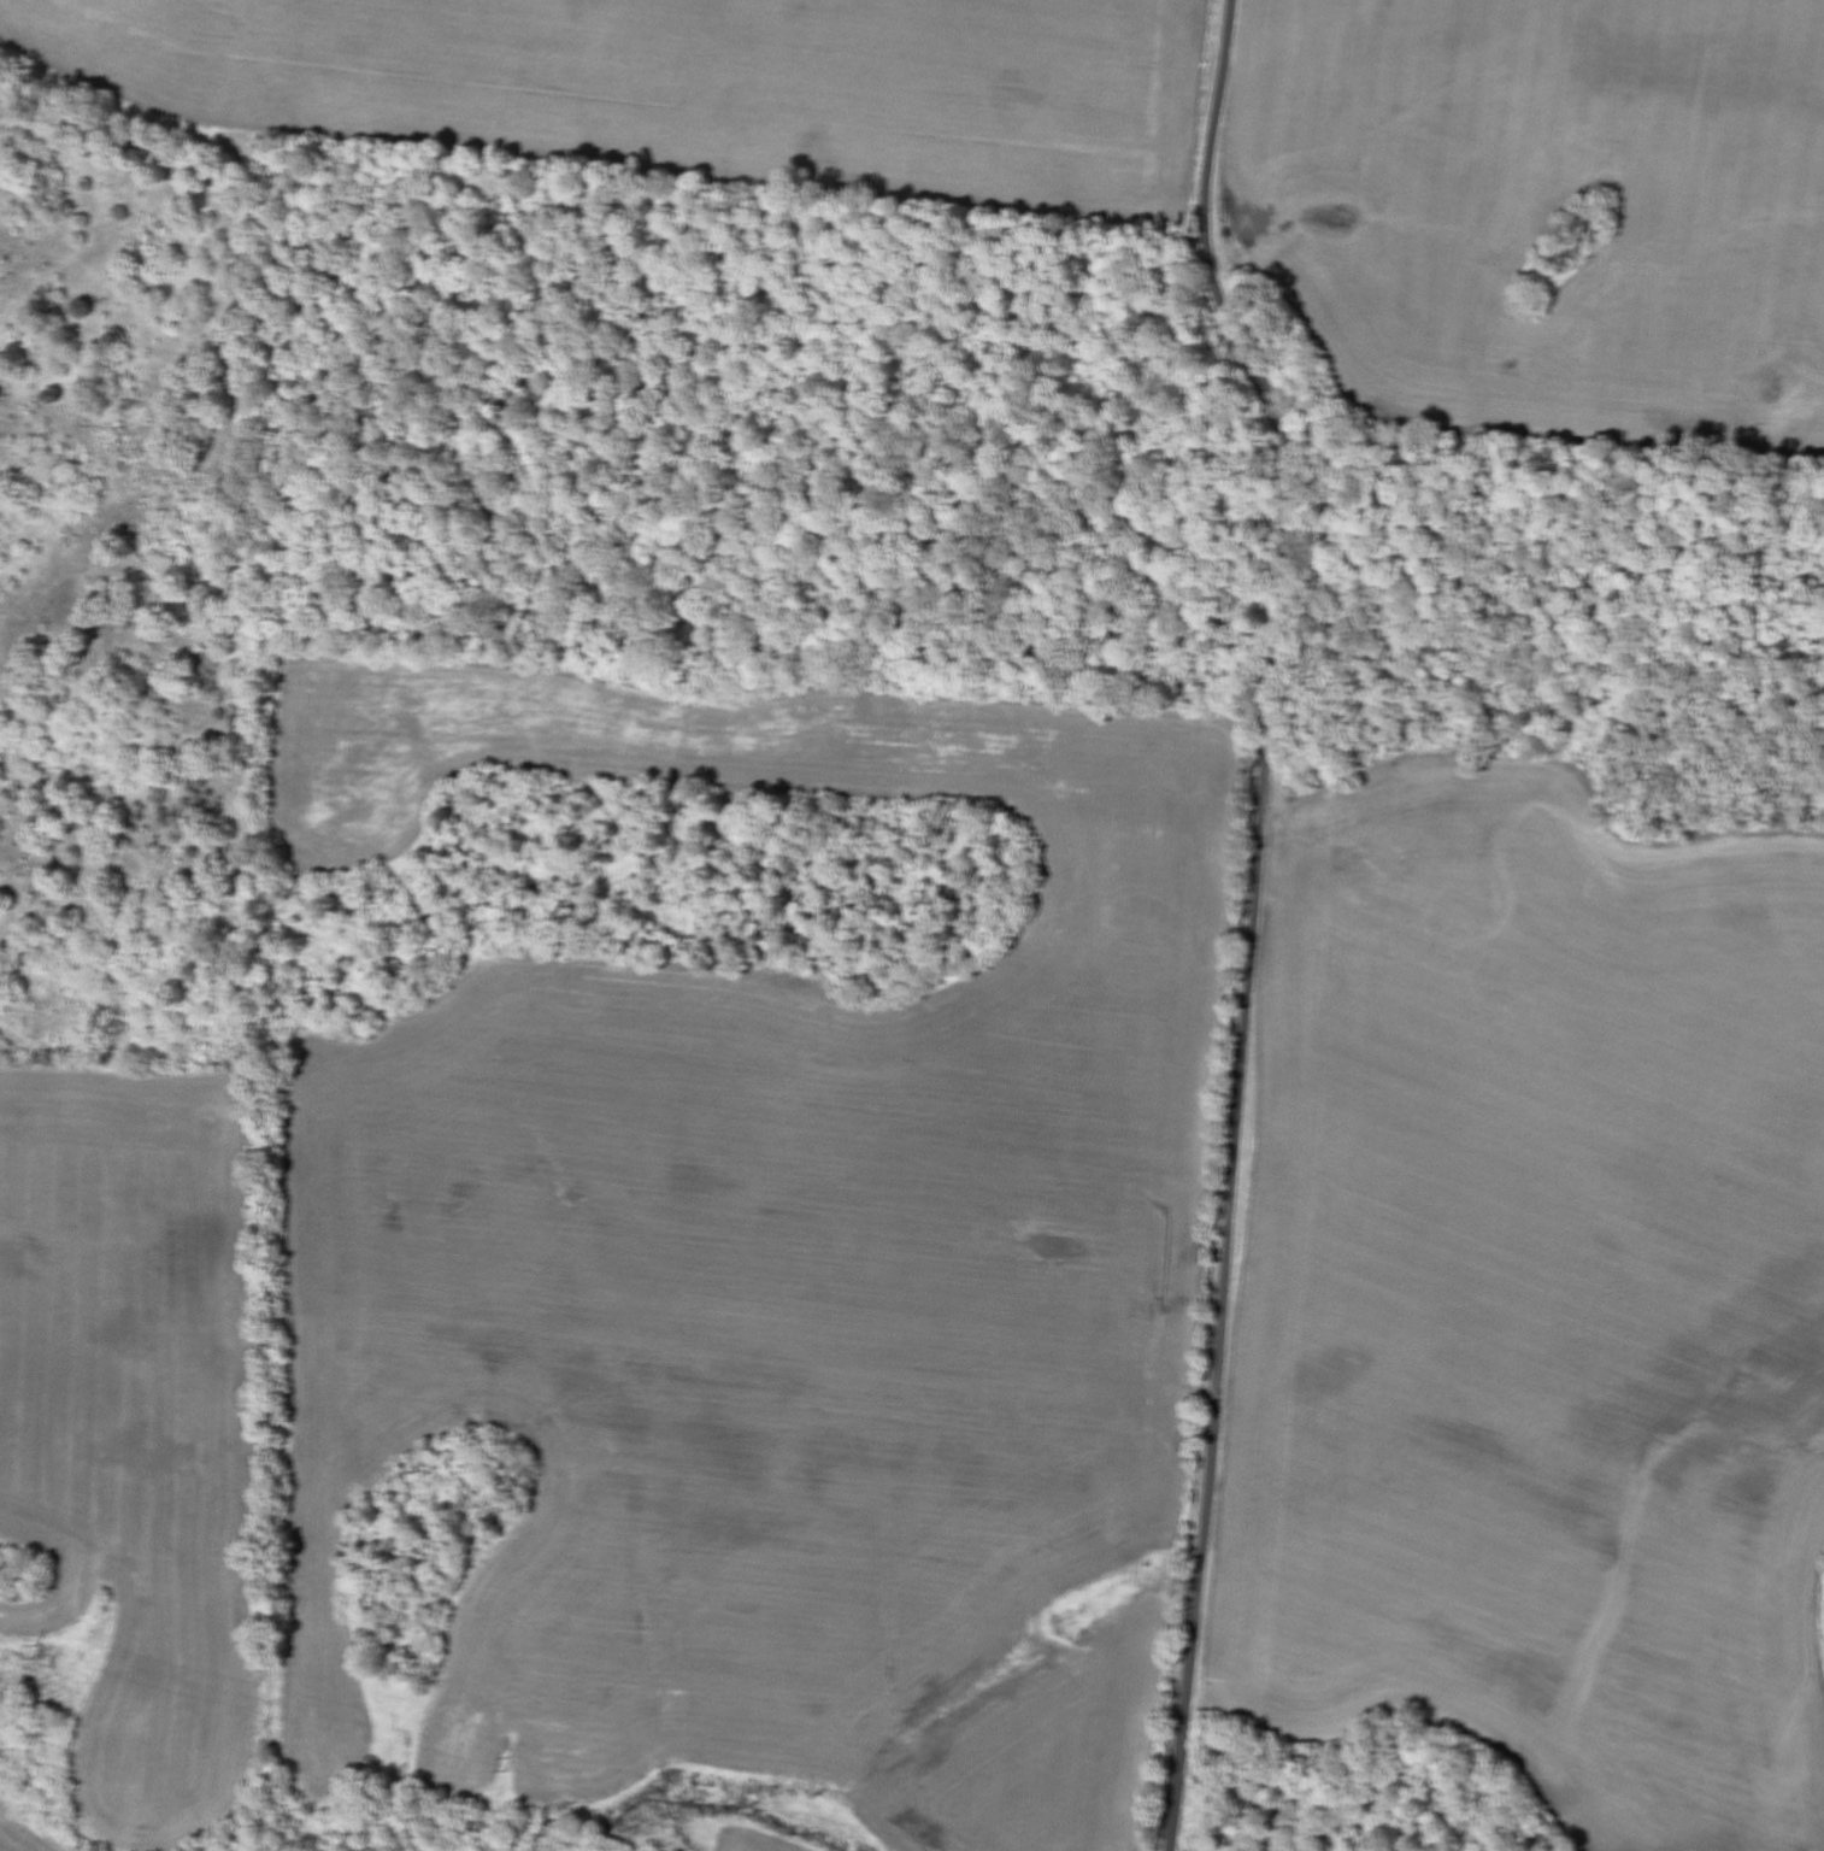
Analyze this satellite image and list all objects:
road: (1265, 769)
road: (1134, 1361)
power tower: (41, 1655)
road: (1188, 1708)
power tower: (518, 1761)

